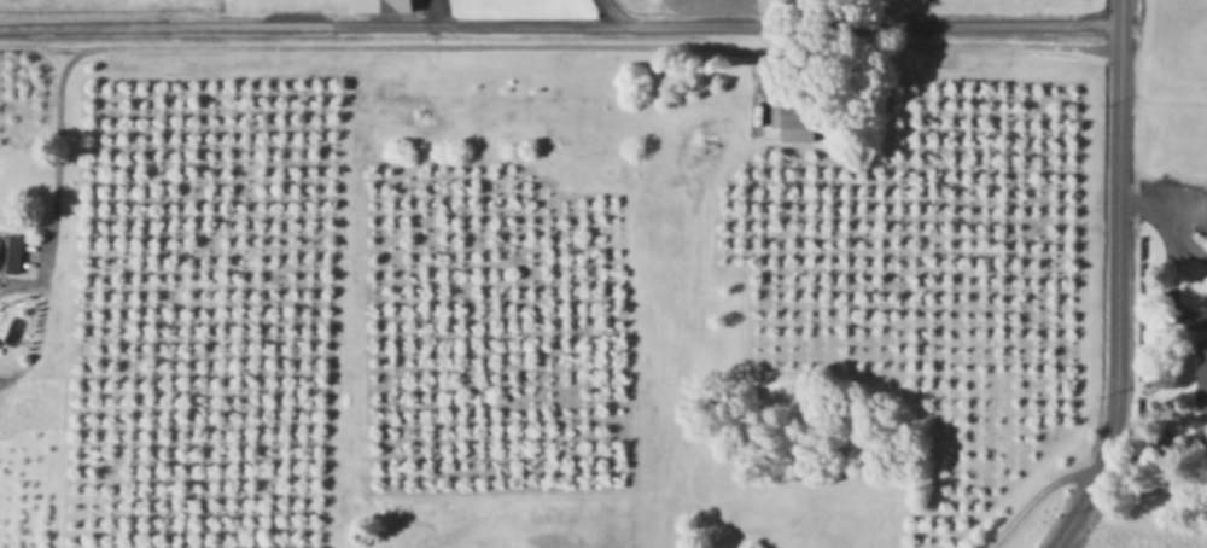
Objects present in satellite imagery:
building: (385, 5)
road: (432, 8)
road: (605, 8)
road: (560, 17)
road: (560, 40)
crop: (1173, 111)
building: (798, 119)
road: (52, 177)
road: (1164, 231)
building: (12, 252)
road: (1118, 282)
building: (1202, 365)
road: (1042, 495)

